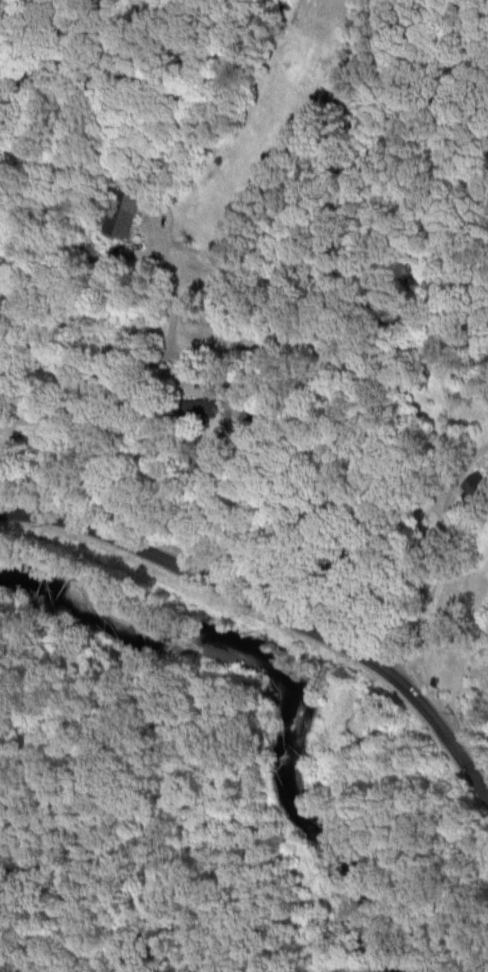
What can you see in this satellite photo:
building: (121, 213)
road: (208, 490)
road: (452, 494)
road: (462, 529)
road: (386, 584)
road: (415, 610)
road: (274, 611)
river: (304, 692)

